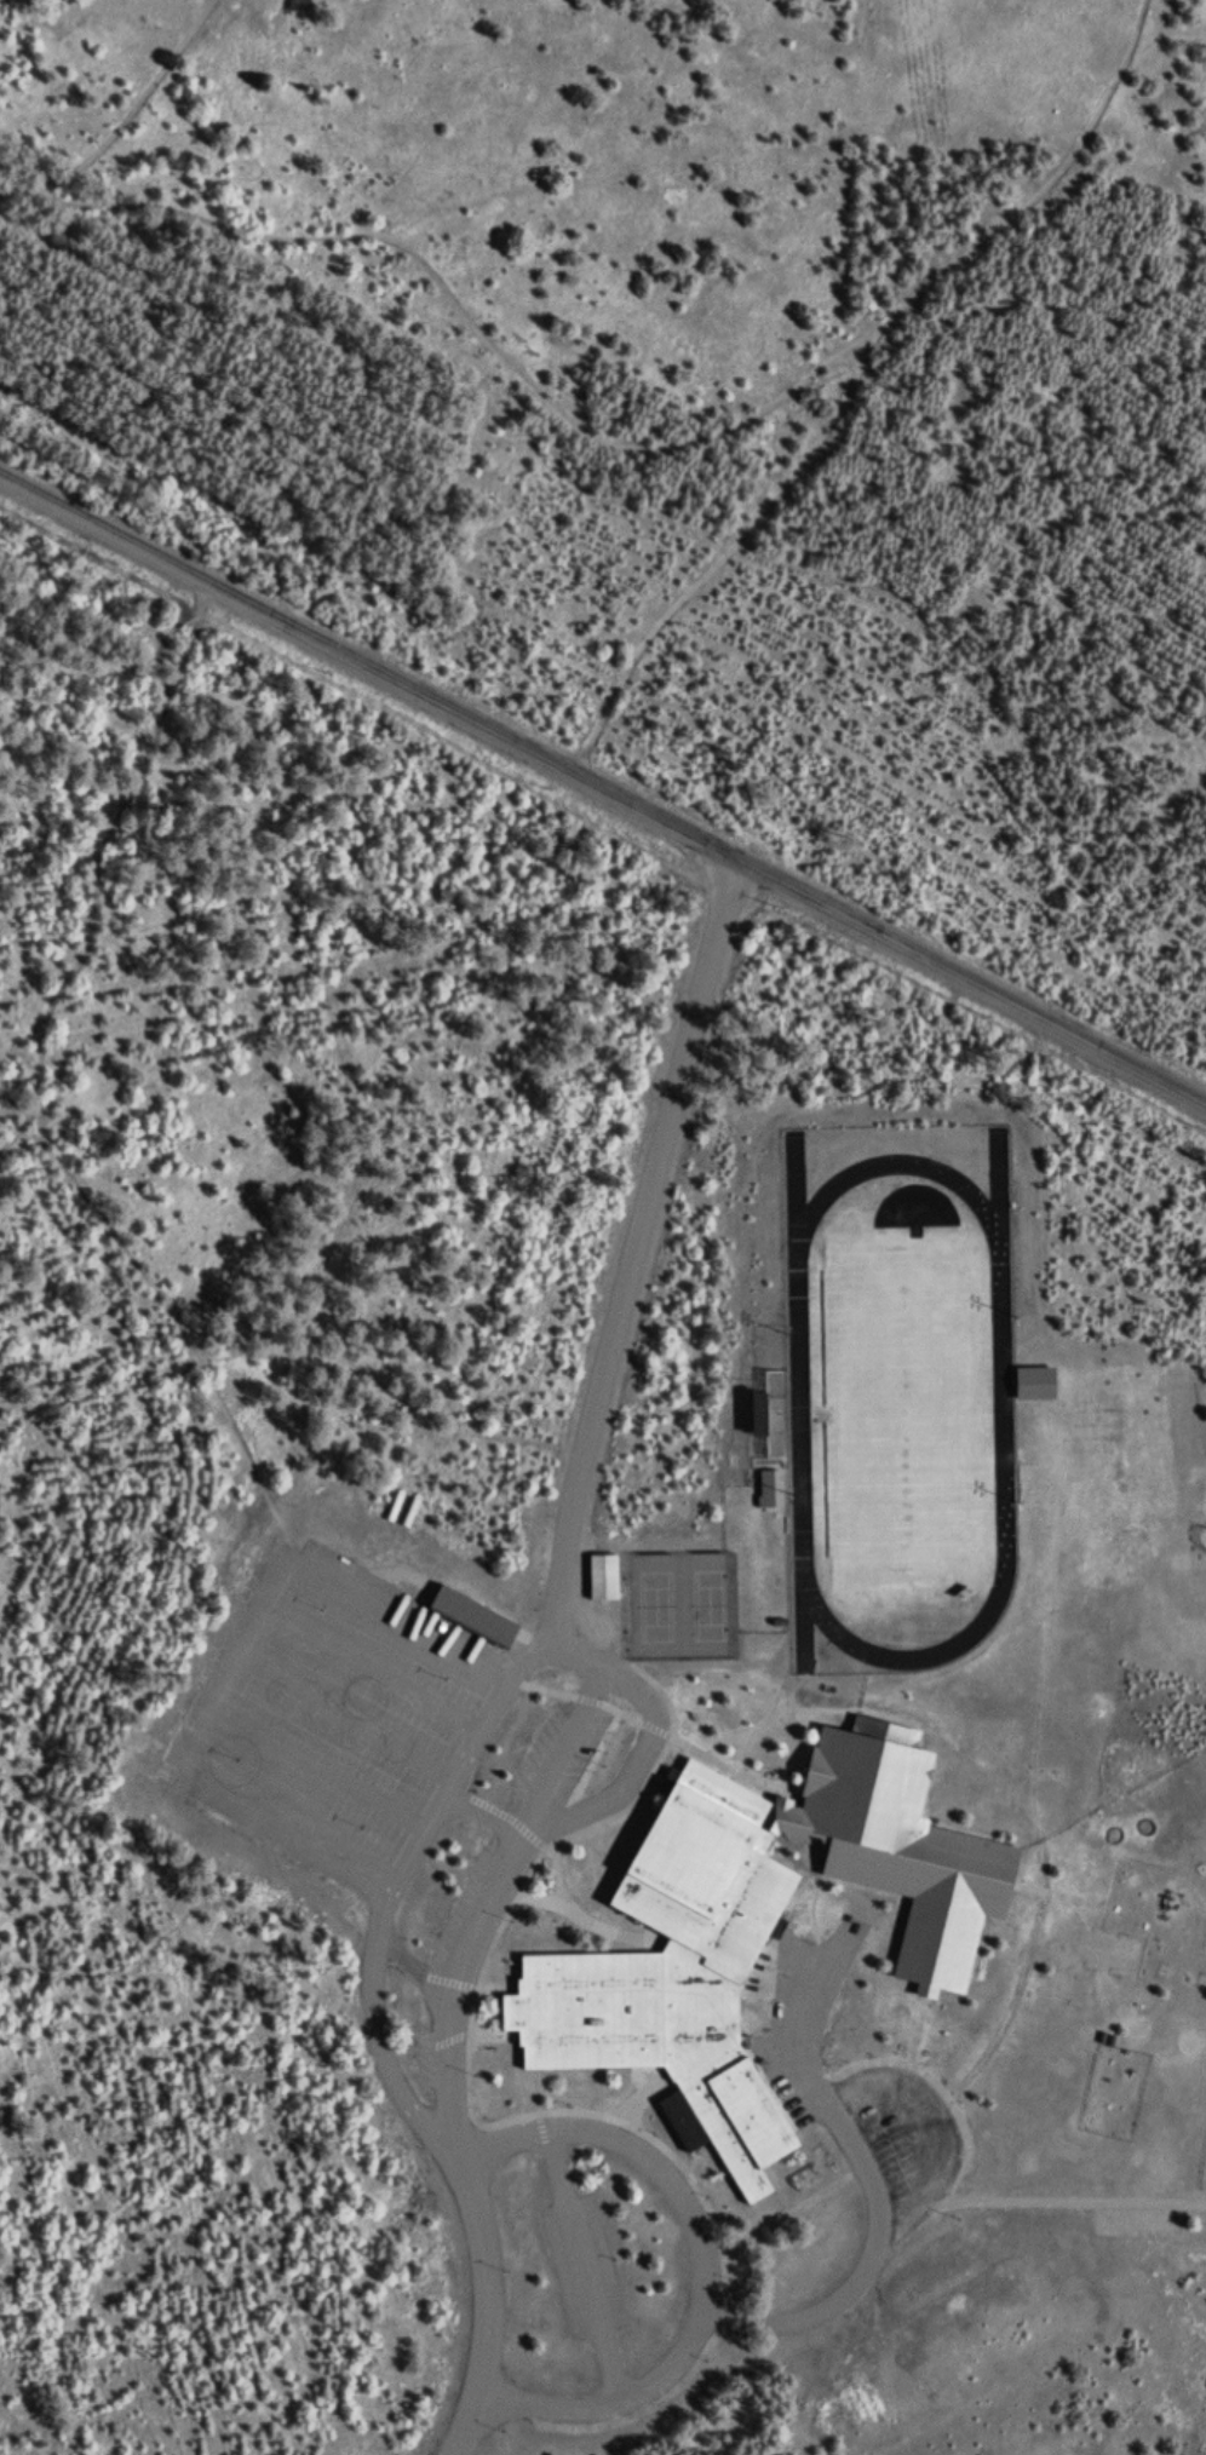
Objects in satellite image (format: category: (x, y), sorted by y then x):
road: (125, 121)
road: (603, 789)
road: (174, 1320)
track: (800, 1408)
building: (769, 1409)
building: (769, 1491)
building: (603, 1580)
park: (683, 1604)
building: (472, 1620)
road: (232, 1657)
road: (371, 1666)
road: (515, 1671)
road: (344, 1717)
parking lot: (341, 1718)
road: (316, 1766)
road: (628, 1786)
building: (757, 1928)
road: (516, 2134)
park: (1205, 2166)
road: (875, 2194)

